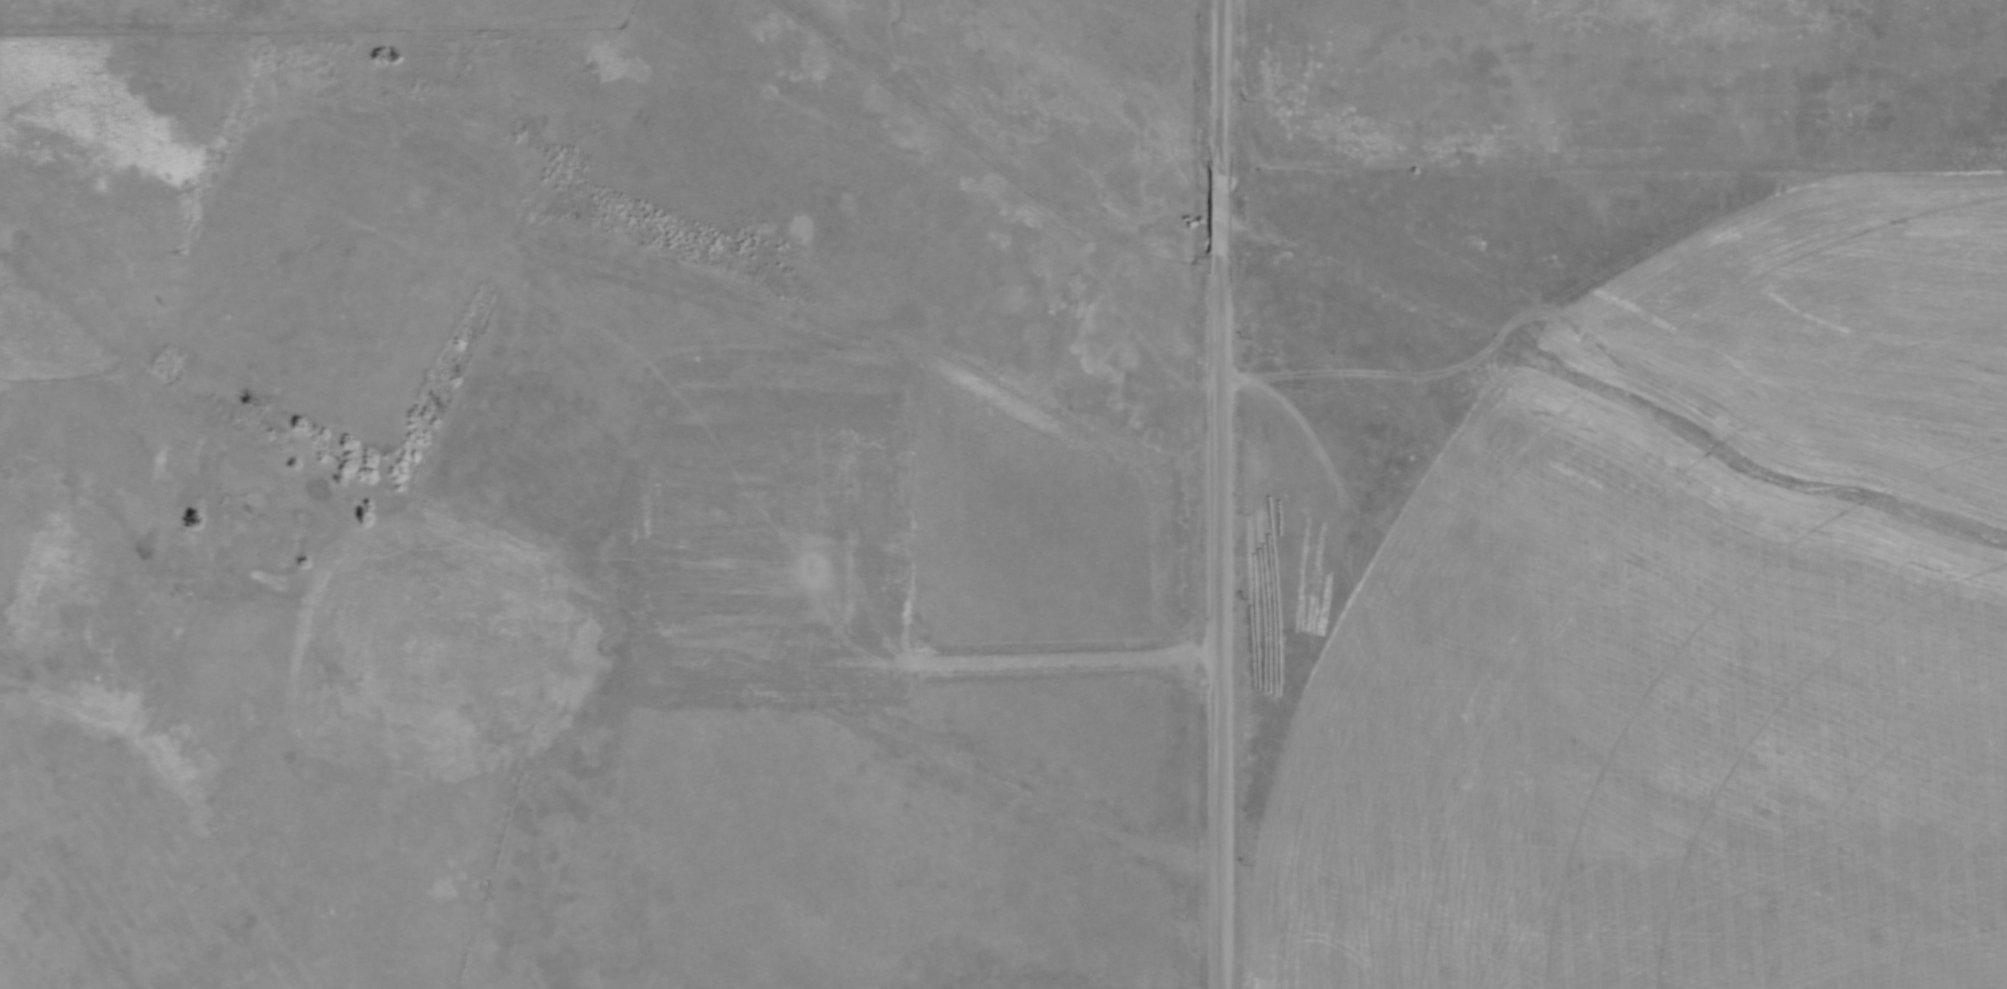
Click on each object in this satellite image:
road: (1217, 82)
road: (1217, 208)
building: (121, 595)
road: (1216, 620)
crop: (1687, 640)

